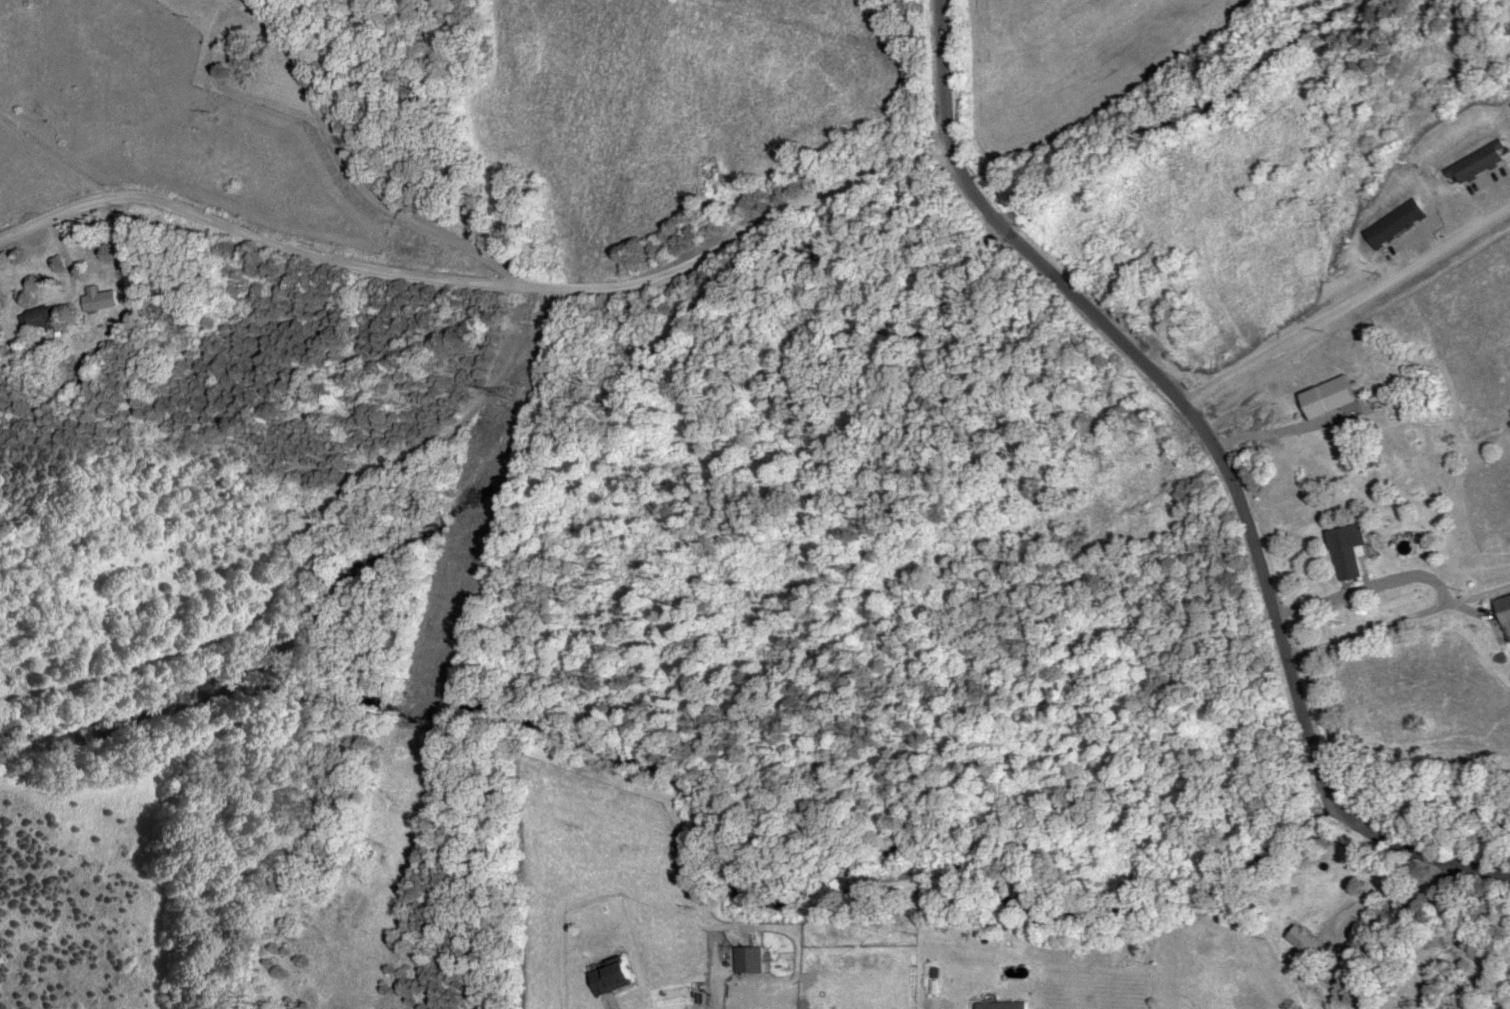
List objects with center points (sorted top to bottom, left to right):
building: (1482, 162)
building: (1399, 222)
road: (485, 277)
building: (99, 296)
road: (1347, 303)
building: (38, 317)
road: (1155, 370)
building: (1380, 399)
building: (1348, 548)
building: (1505, 611)
road: (1397, 620)
road: (1341, 808)
road: (1437, 853)
road: (1416, 895)
building: (1304, 938)
building: (749, 958)
building: (611, 976)
building: (1002, 1004)

